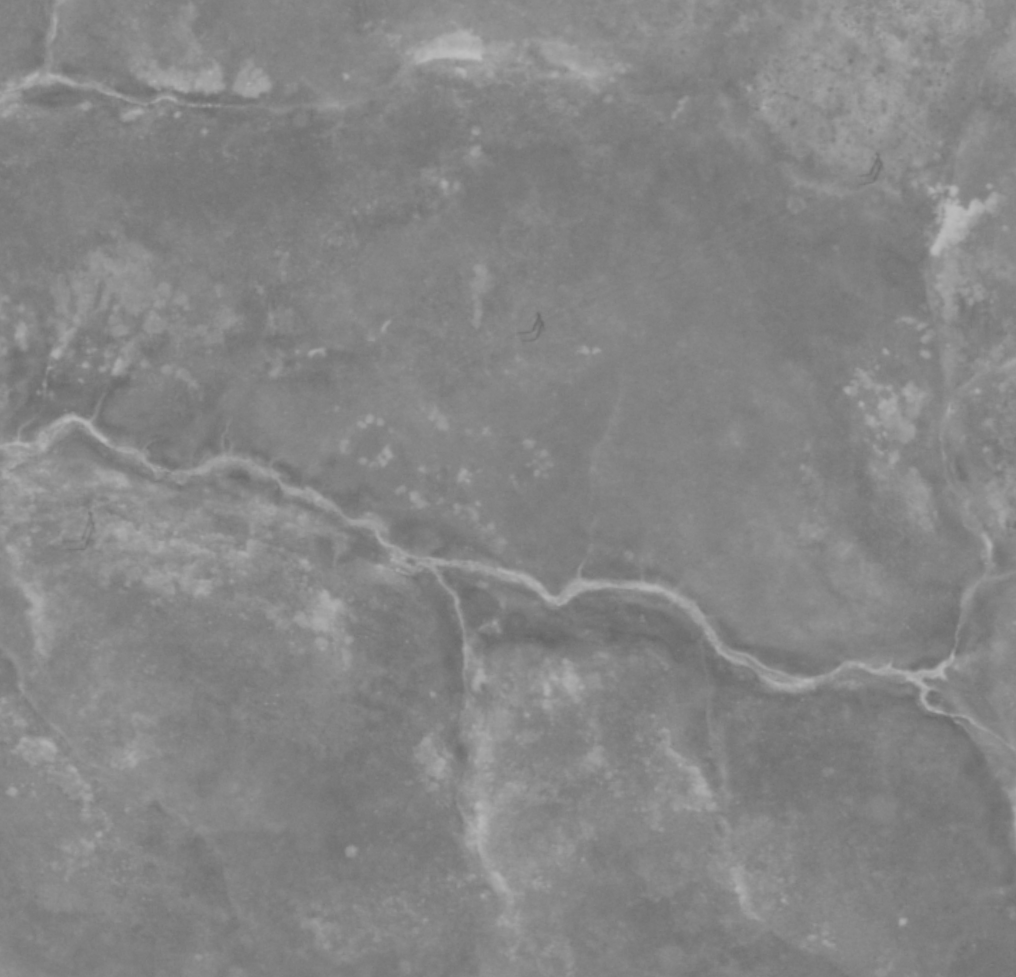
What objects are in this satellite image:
power tower: (868, 177)
power tower: (531, 334)
power tower: (79, 545)

